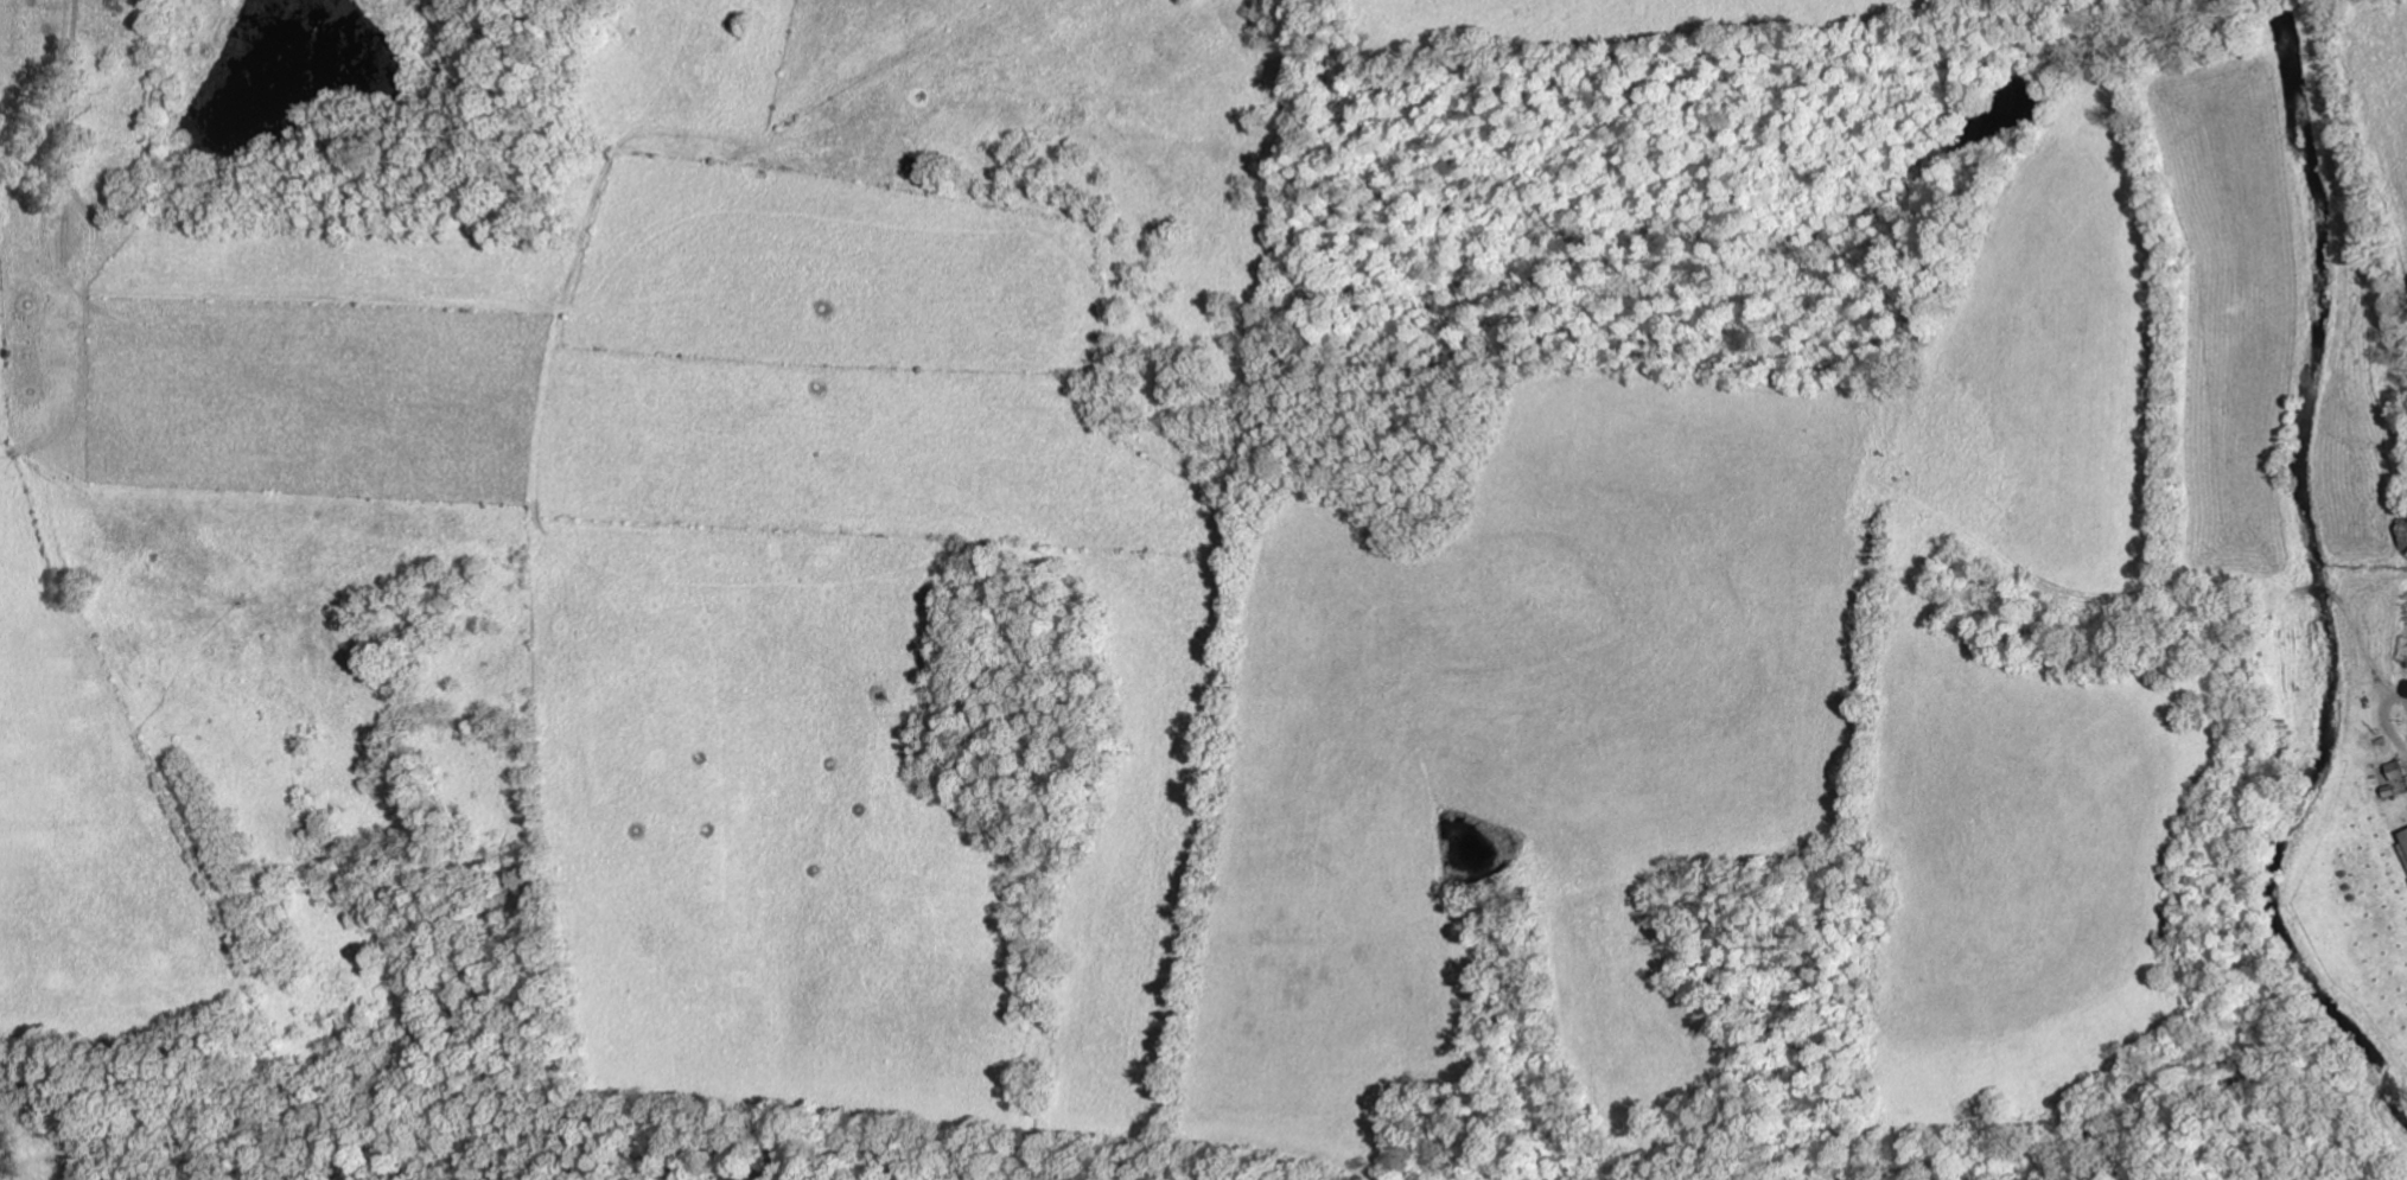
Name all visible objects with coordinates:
road: (2376, 611)
building: (2398, 768)
road: (2364, 1020)

